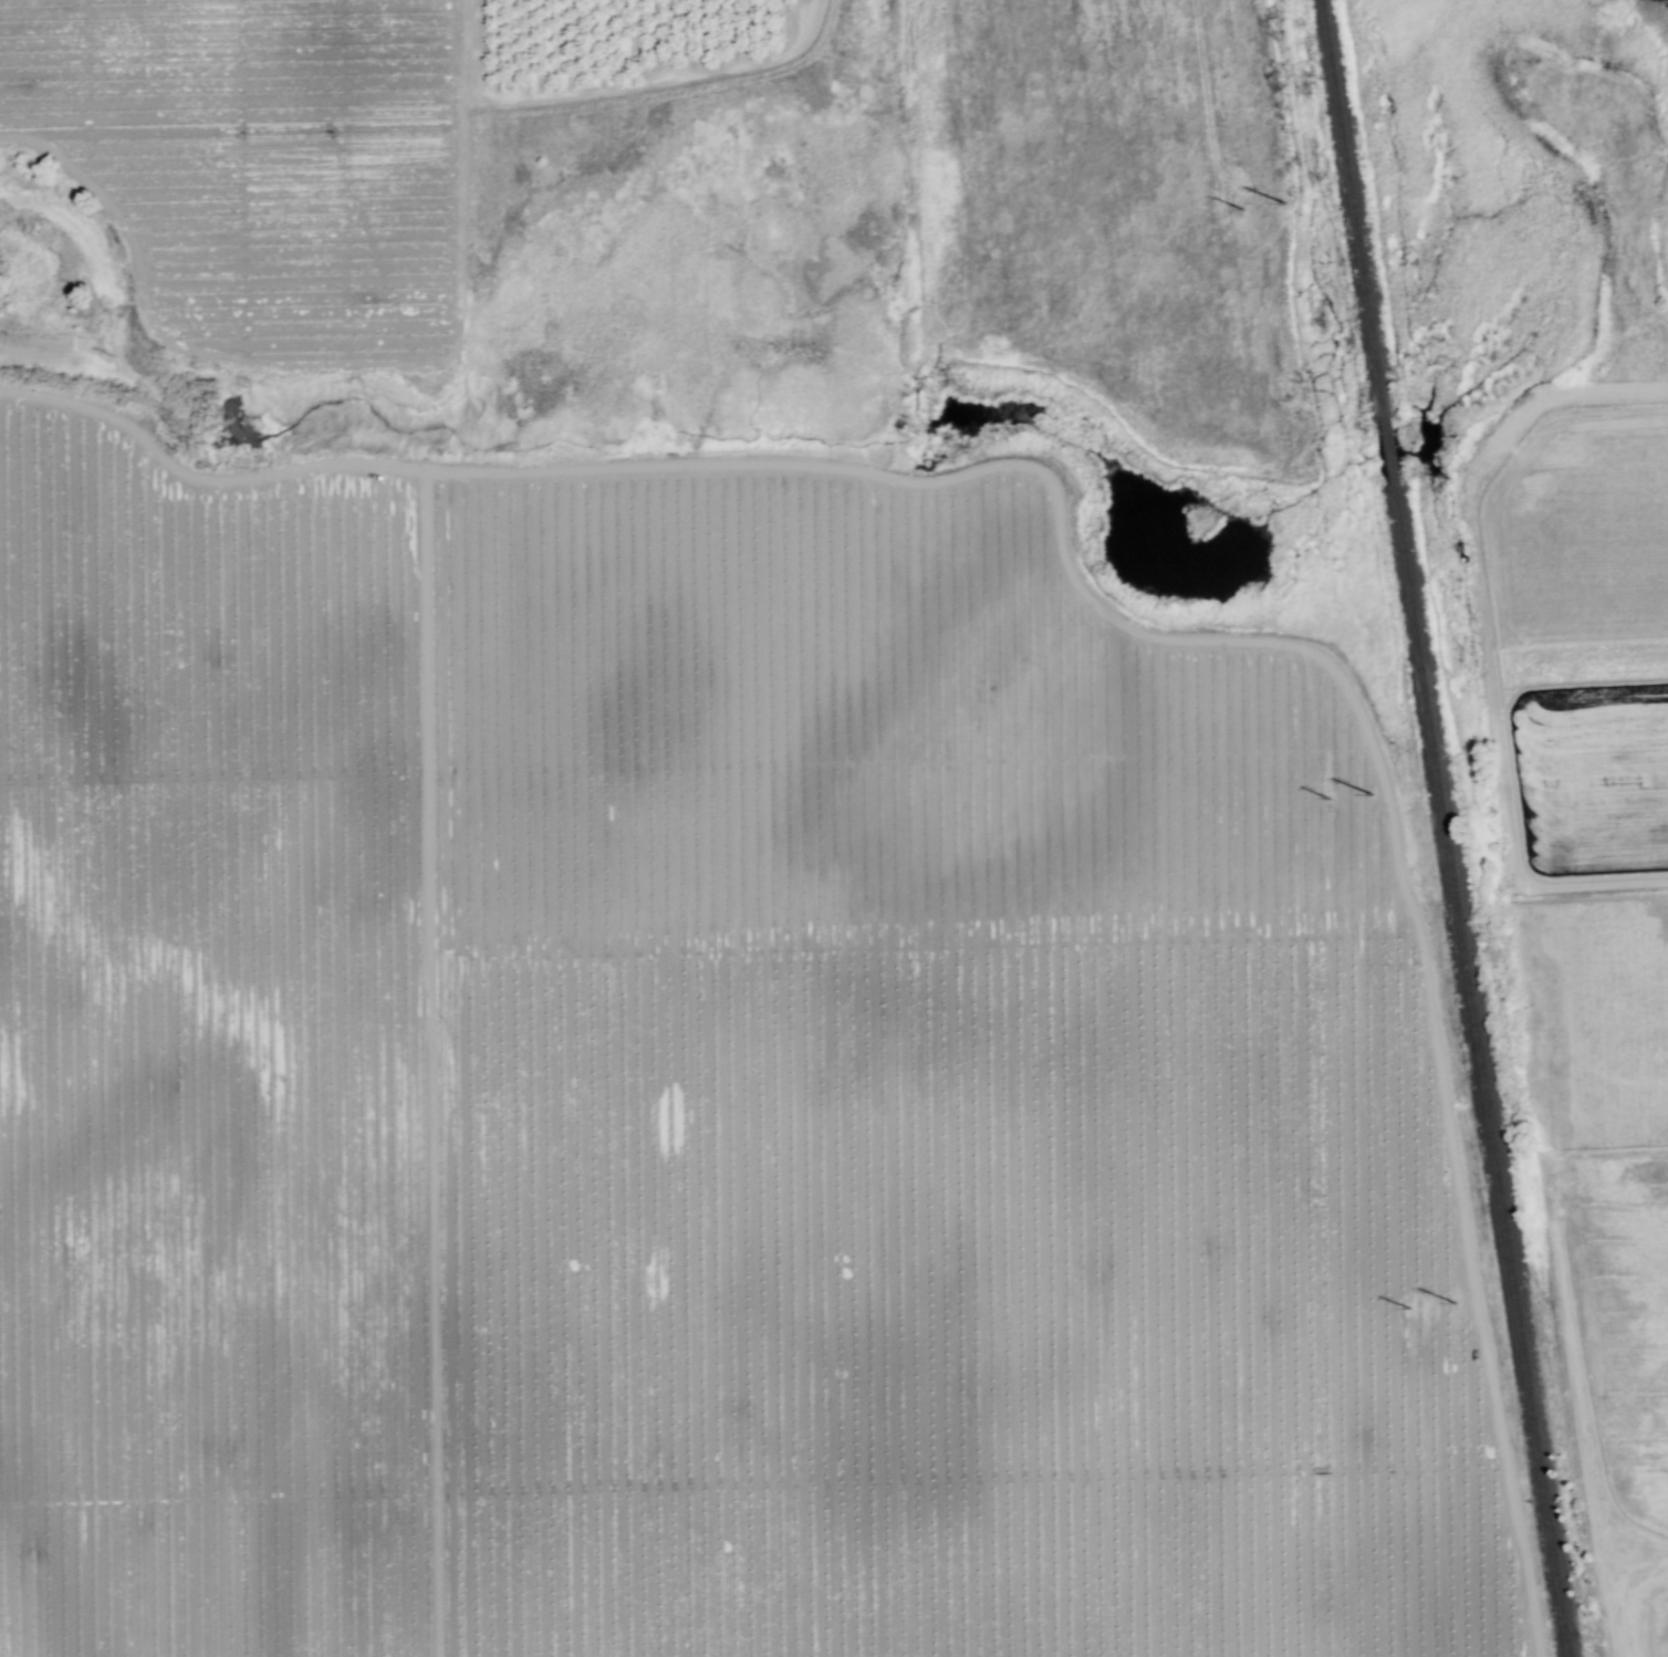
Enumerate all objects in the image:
power tower: (1240, 195)
railway: (1361, 210)
railway: (1397, 455)
power tower: (1331, 785)
railway: (1489, 1072)
power tower: (1412, 1323)

